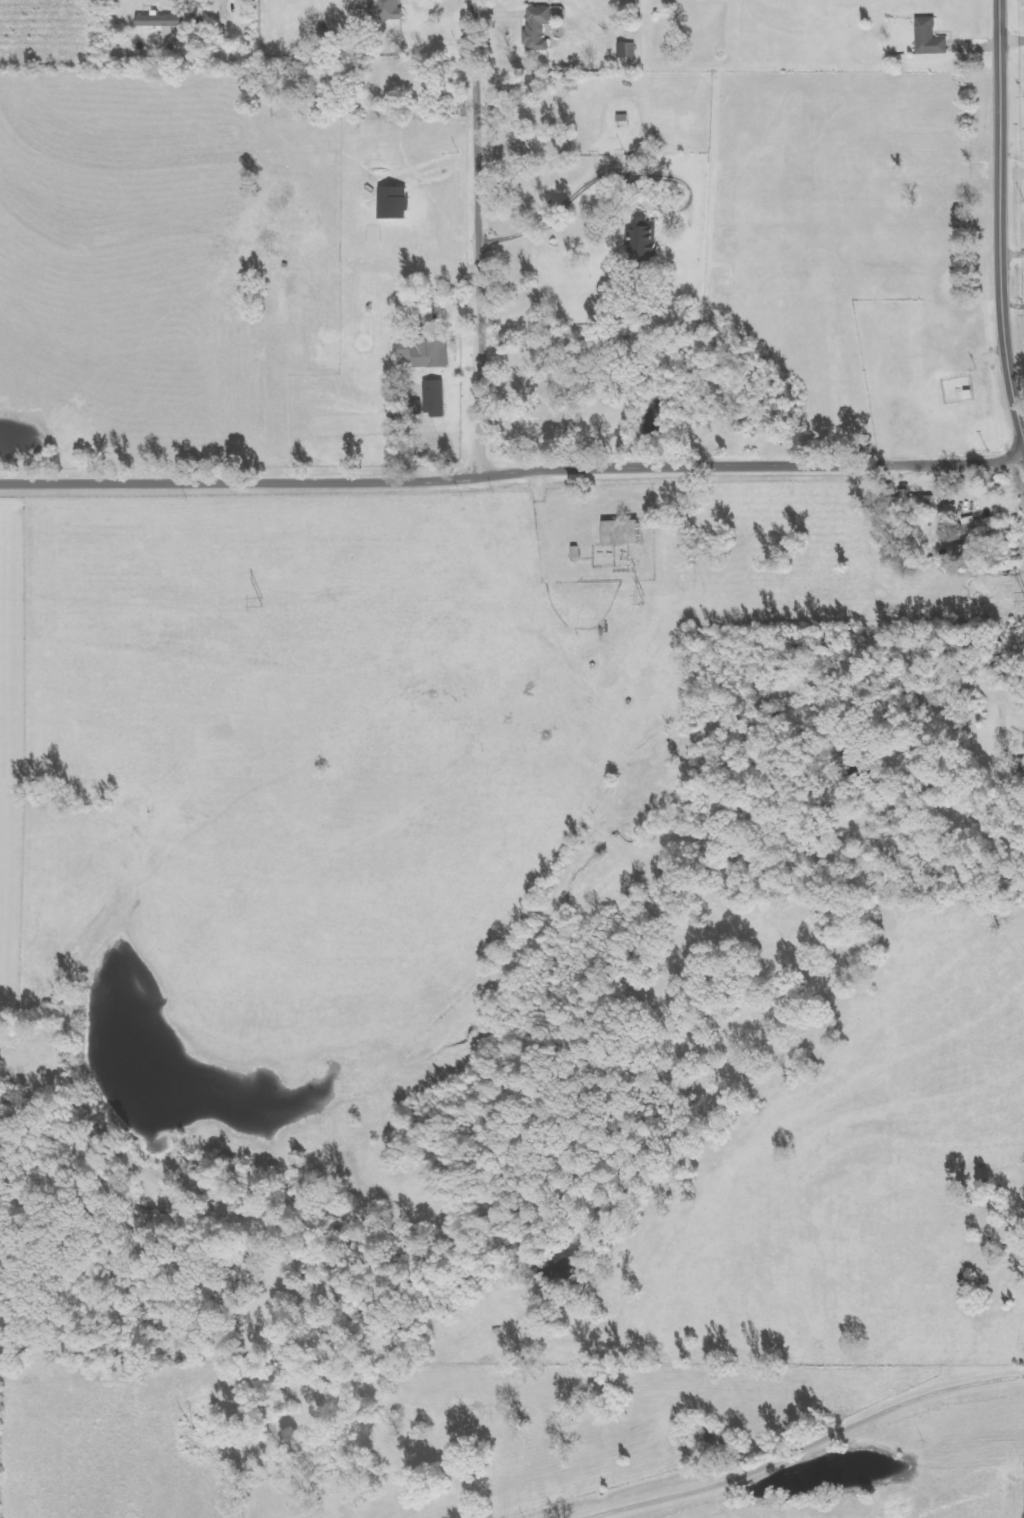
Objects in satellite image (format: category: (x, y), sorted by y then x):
building: (391, 10)
building: (167, 20)
building: (542, 28)
building: (931, 38)
road: (1011, 38)
building: (631, 50)
road: (998, 109)
building: (642, 163)
building: (648, 237)
road: (477, 238)
road: (1002, 331)
building: (430, 351)
building: (438, 398)
road: (513, 472)
building: (915, 501)
building: (981, 527)
building: (629, 532)
power tower: (1023, 596)
power tower: (651, 601)
power tower: (256, 602)

